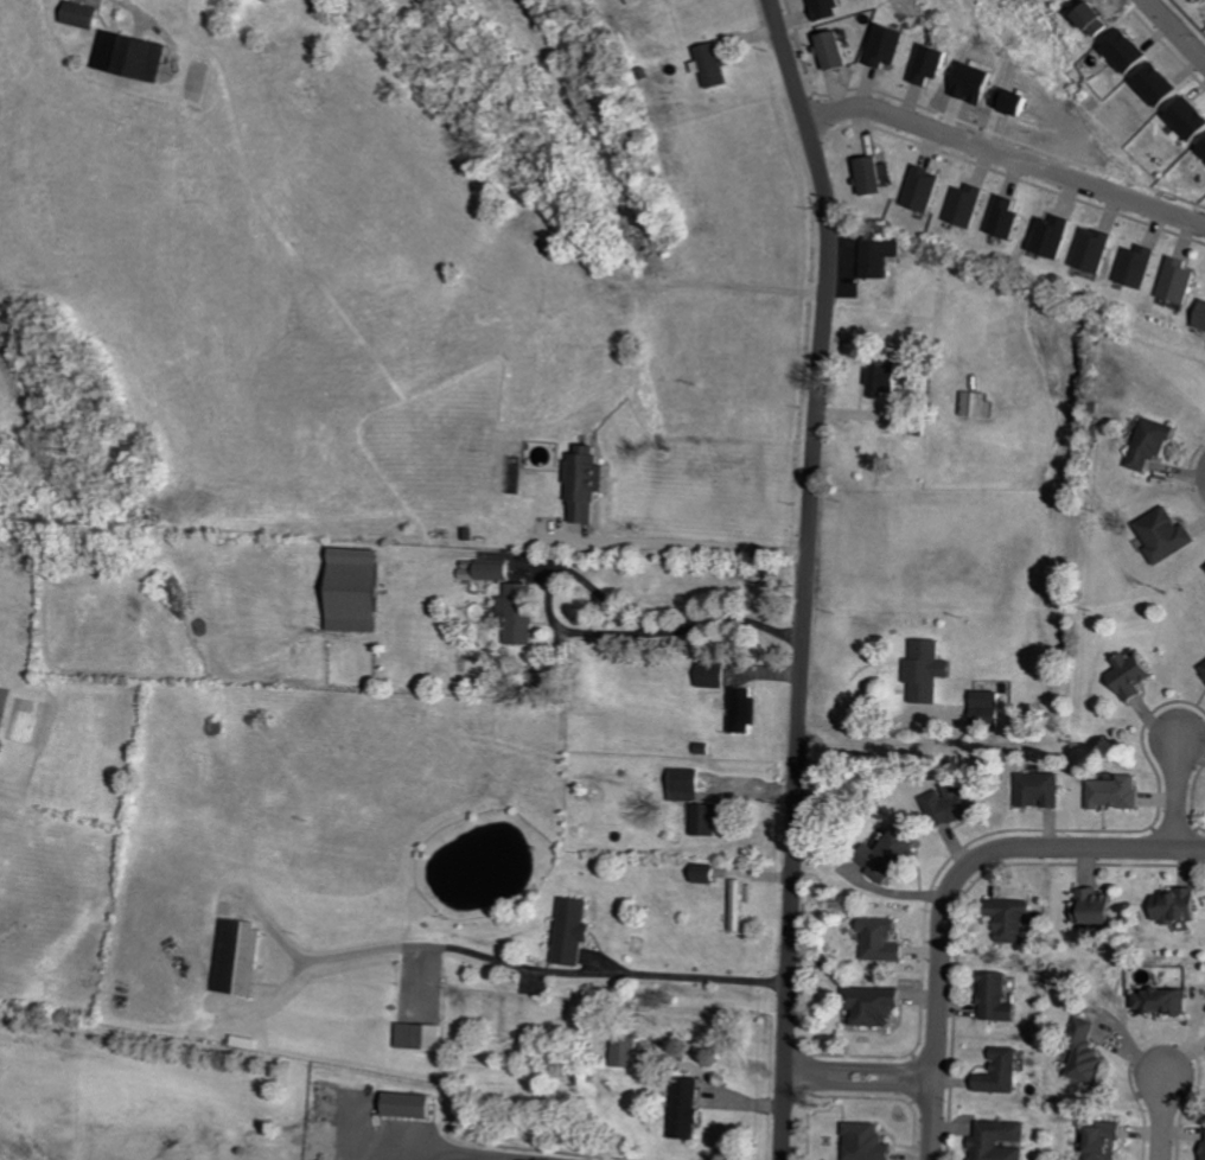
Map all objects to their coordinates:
building: (639, 1)
building: (820, 9)
building: (87, 15)
road: (1178, 27)
building: (880, 47)
building: (1121, 50)
building: (824, 51)
building: (138, 57)
building: (719, 64)
building: (923, 65)
building: (1154, 84)
building: (1185, 117)
building: (1200, 149)
road: (1006, 153)
building: (868, 176)
building: (917, 190)
building: (961, 206)
building: (1000, 218)
building: (1047, 237)
building: (1090, 251)
building: (880, 255)
building: (1133, 267)
building: (1174, 281)
building: (1198, 316)
building: (887, 377)
building: (978, 403)
building: (1154, 442)
building: (588, 482)
building: (1168, 535)
road: (701, 547)
building: (498, 569)
road: (809, 575)
building: (361, 589)
building: (521, 613)
building: (931, 670)
building: (715, 675)
building: (1136, 675)
building: (993, 706)
building: (746, 709)
building: (1, 746)
building: (689, 784)
building: (1045, 790)
building: (1120, 791)
road: (1179, 796)
building: (954, 803)
building: (709, 818)
building: (895, 854)
road: (975, 865)
building: (709, 873)
building: (741, 905)
building: (1179, 905)
building: (1102, 906)
building: (1014, 918)
building: (576, 931)
building: (886, 941)
building: (241, 957)
building: (1000, 998)
building: (1167, 1000)
building: (879, 1005)
building: (1086, 1025)
building: (423, 1037)
building: (249, 1041)
building: (630, 1052)
building: (1091, 1065)
road: (861, 1070)
building: (1005, 1072)
road: (861, 1085)
building: (413, 1104)
building: (690, 1108)
road: (1163, 1115)
road: (935, 1124)
building: (1109, 1140)
building: (1003, 1141)
building: (871, 1142)
road: (451, 1148)

